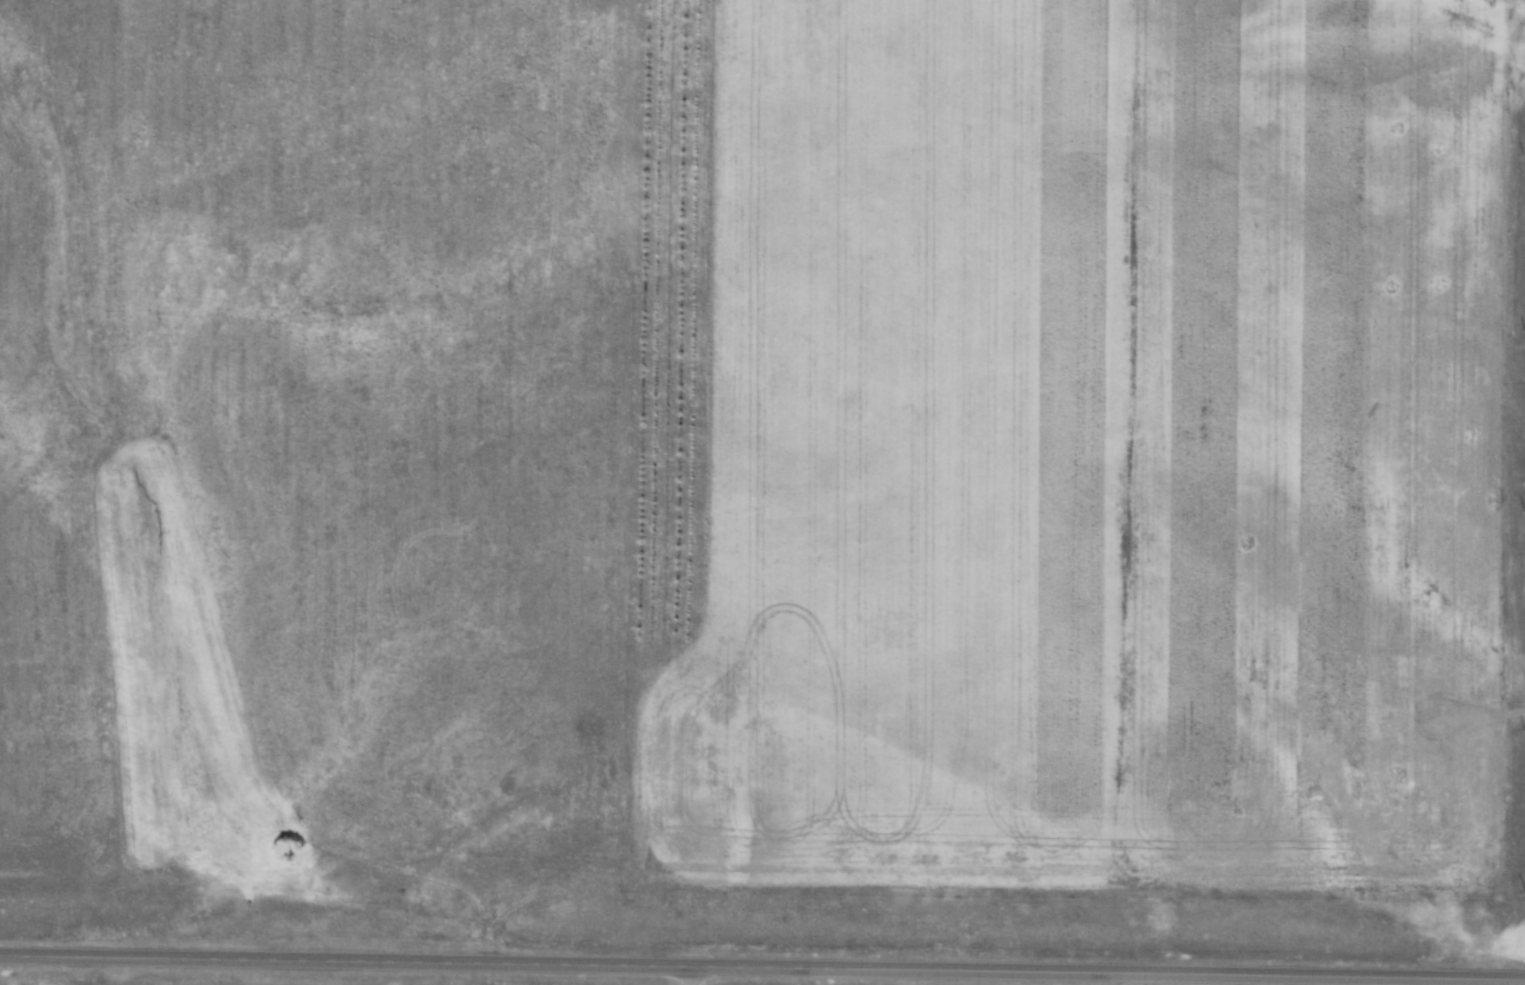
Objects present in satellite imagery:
road: (762, 965)

